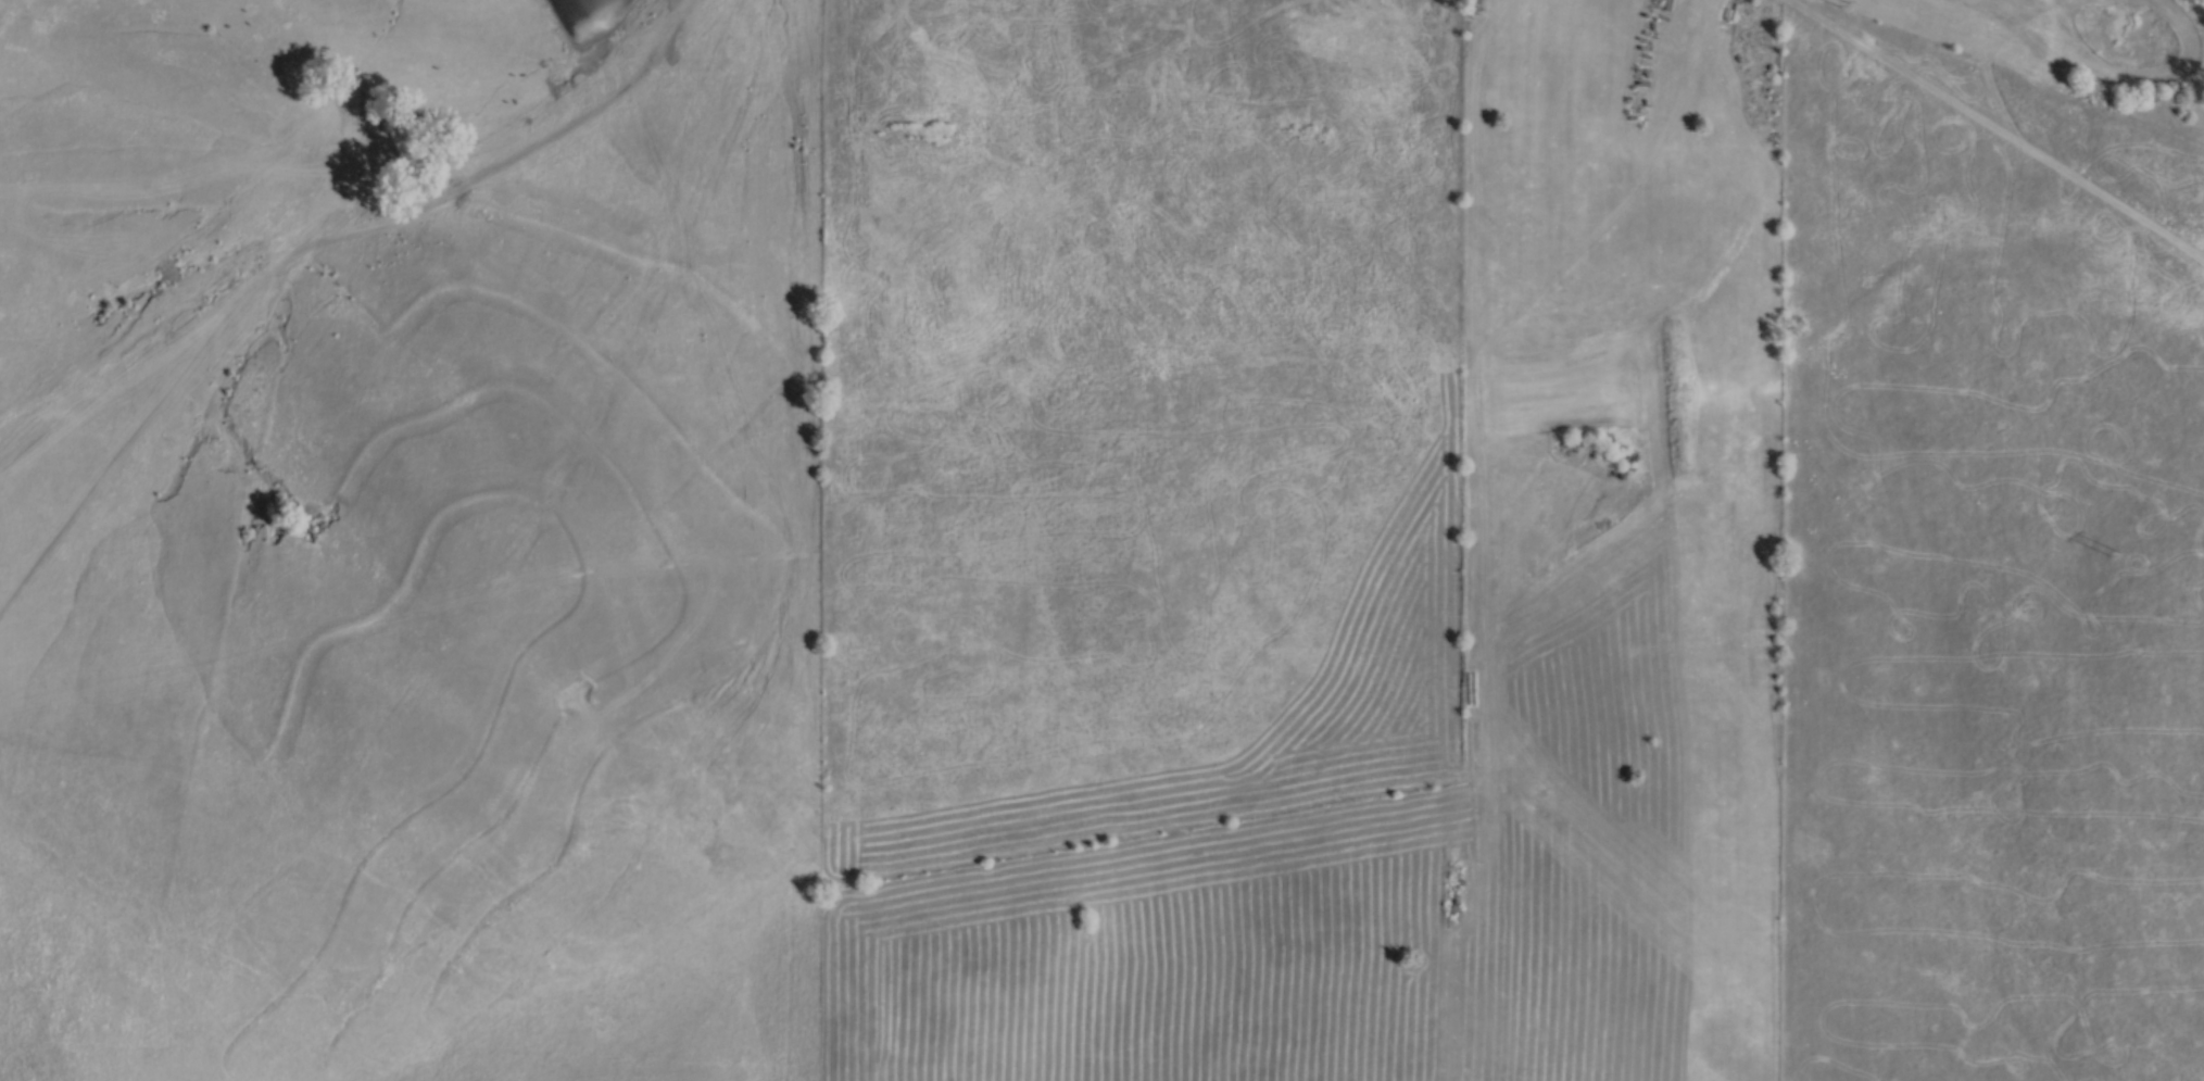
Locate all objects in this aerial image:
power tower: (1846, 3)
power tower: (2117, 553)

